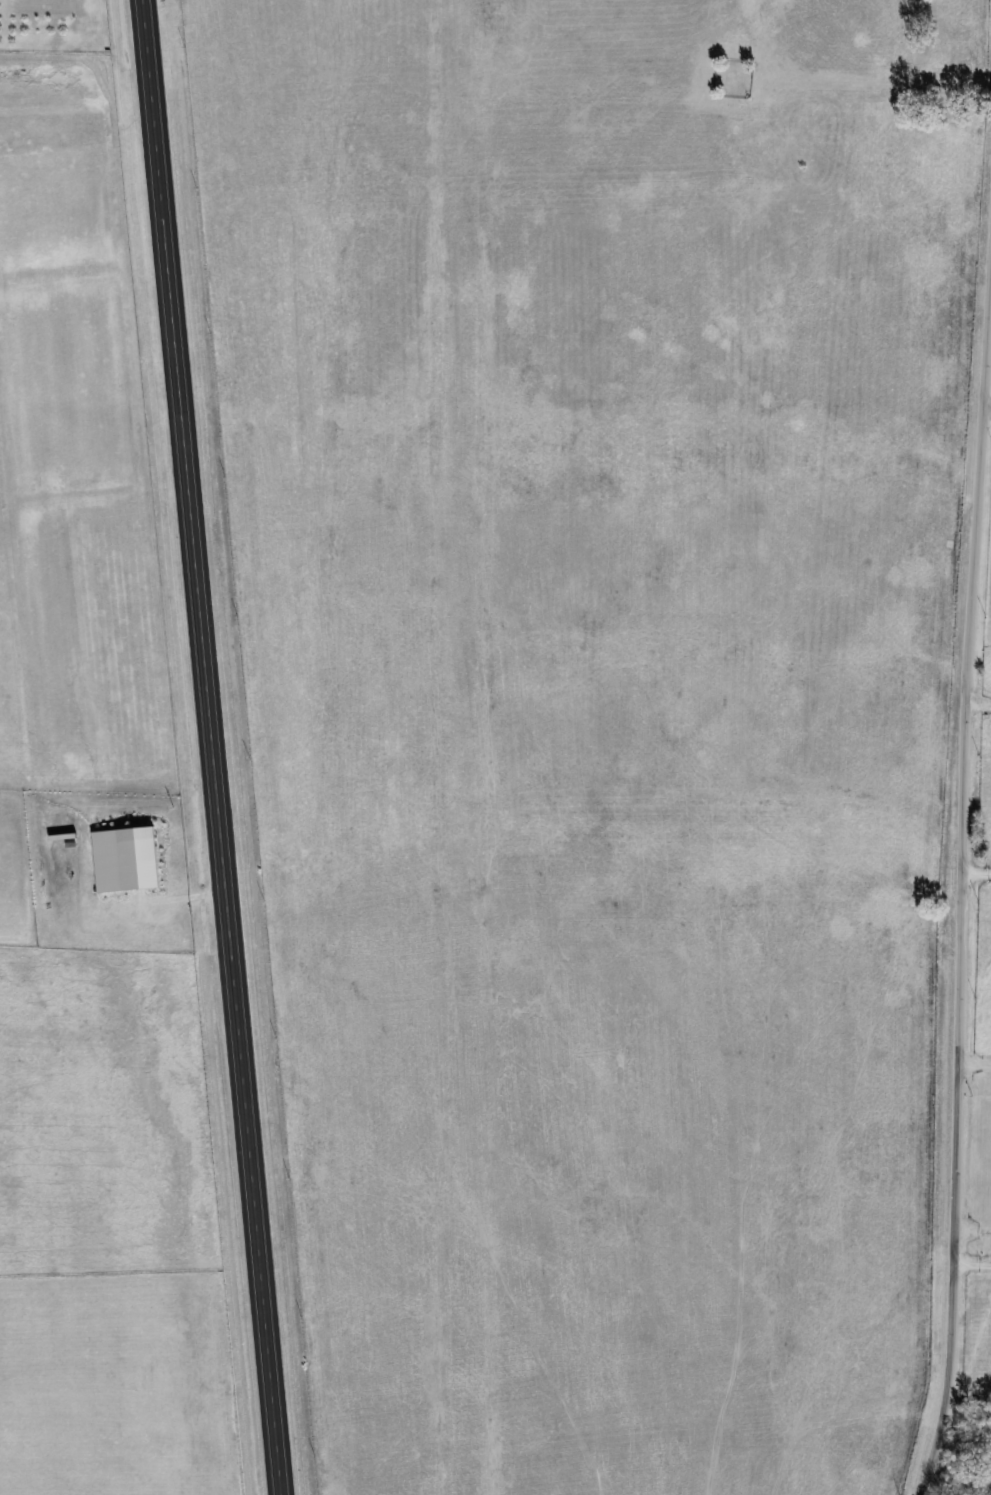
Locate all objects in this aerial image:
park: (733, 77)
road: (987, 405)
road: (978, 703)
road: (211, 747)
building: (127, 855)
road: (976, 871)
road: (961, 883)
road: (971, 1265)

